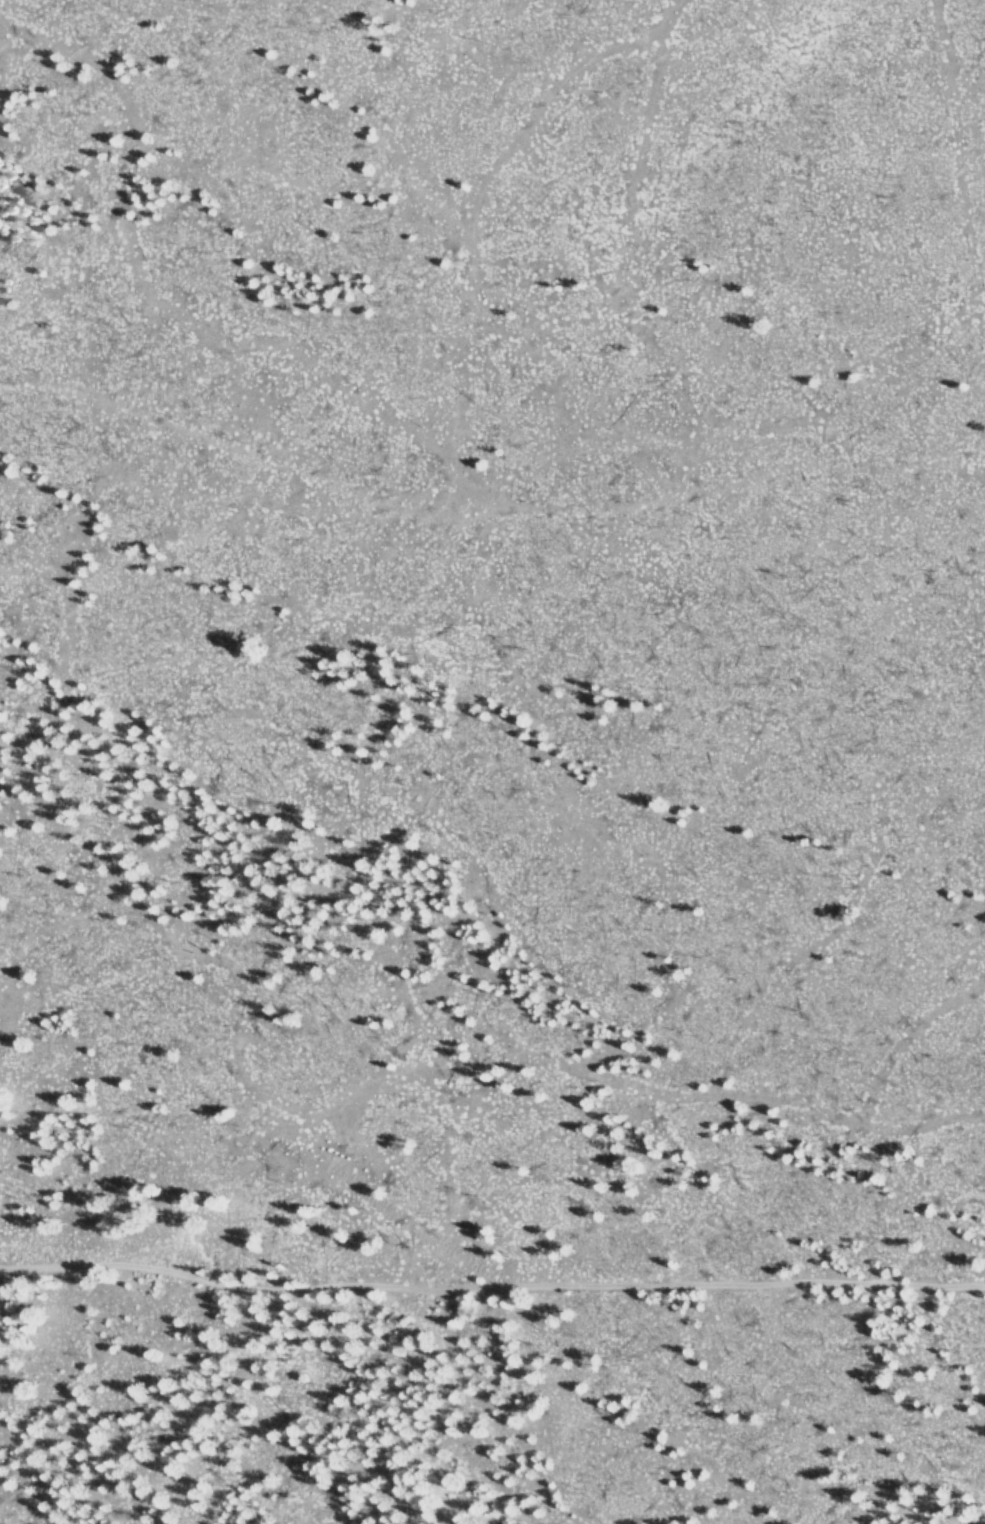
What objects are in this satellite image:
road: (492, 1281)

